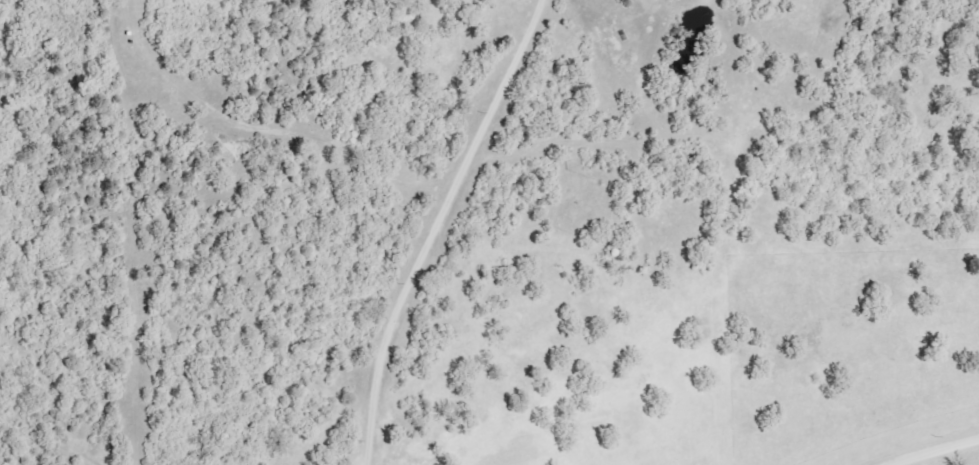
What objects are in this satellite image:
road: (430, 227)
road: (940, 451)

